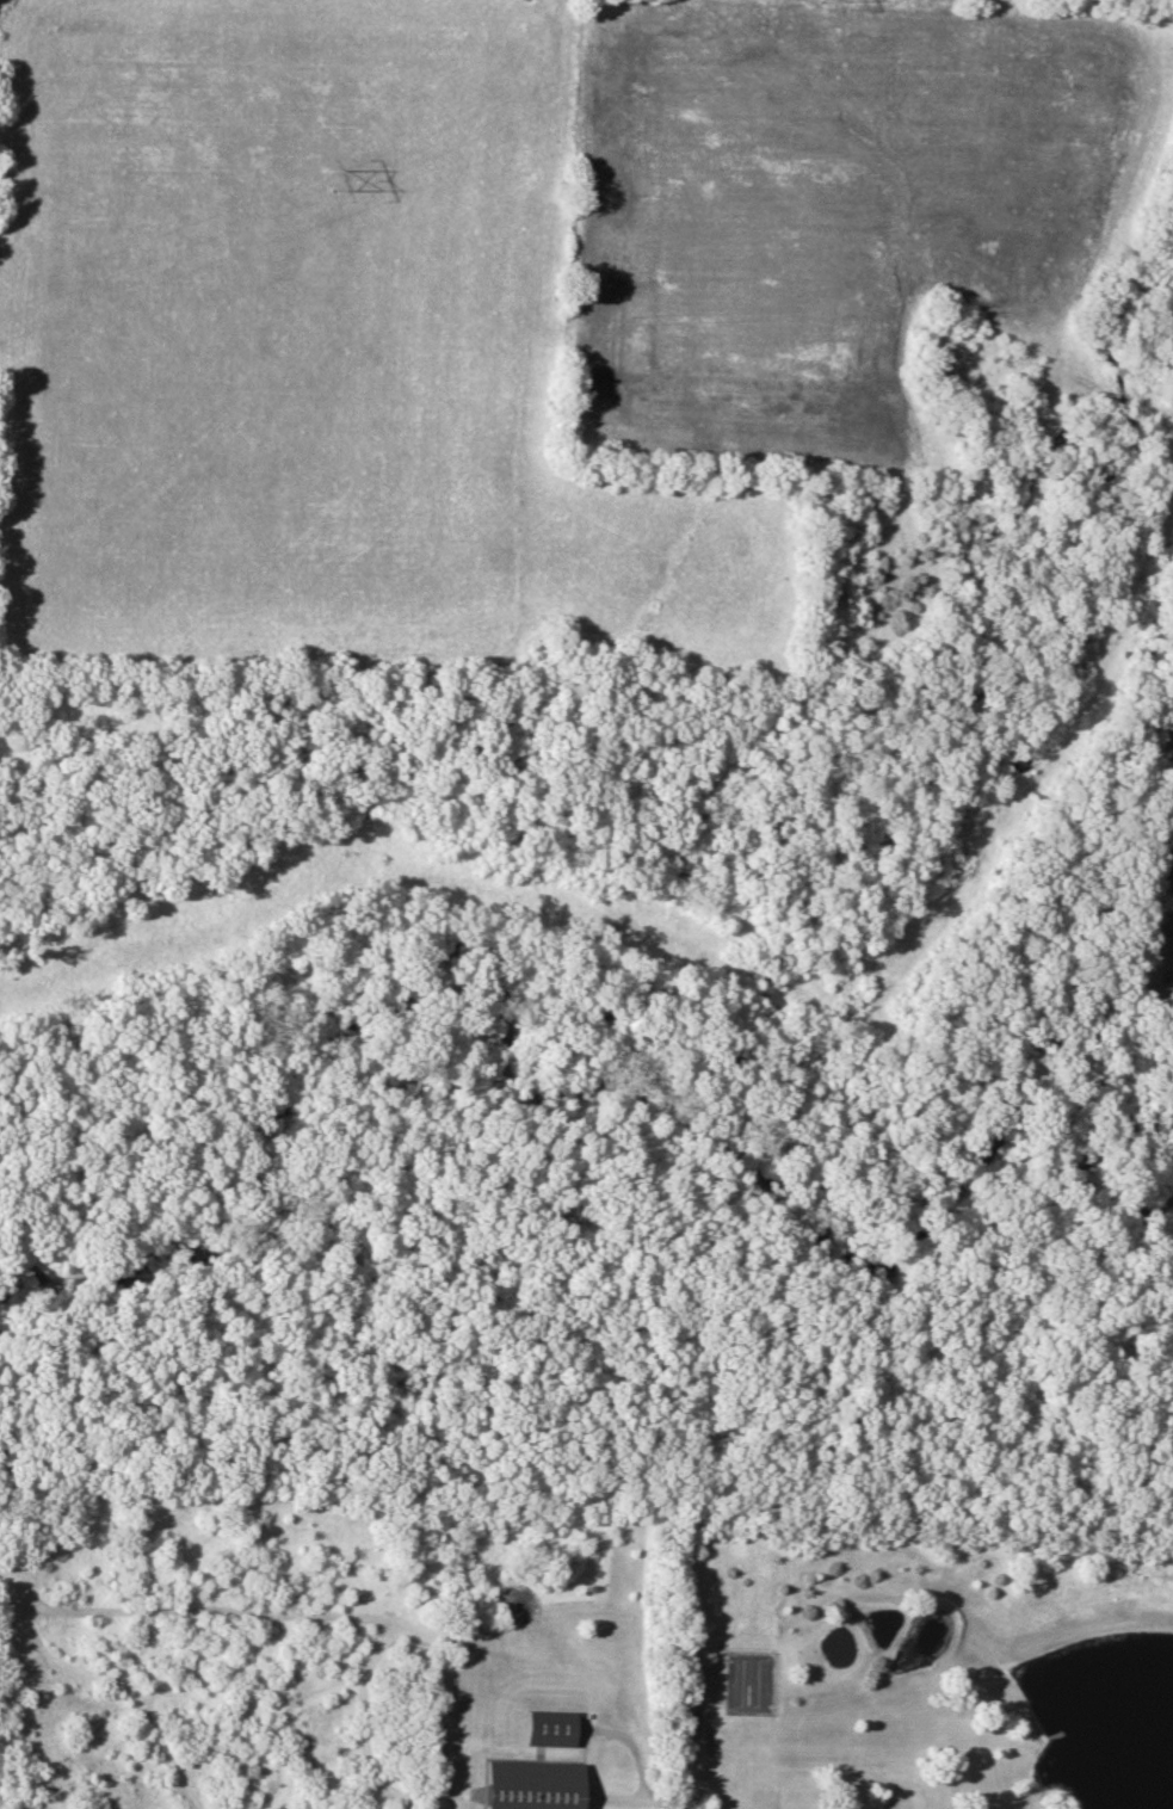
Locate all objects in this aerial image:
power tower: (332, 174)
building: (549, 1728)
building: (533, 1785)

